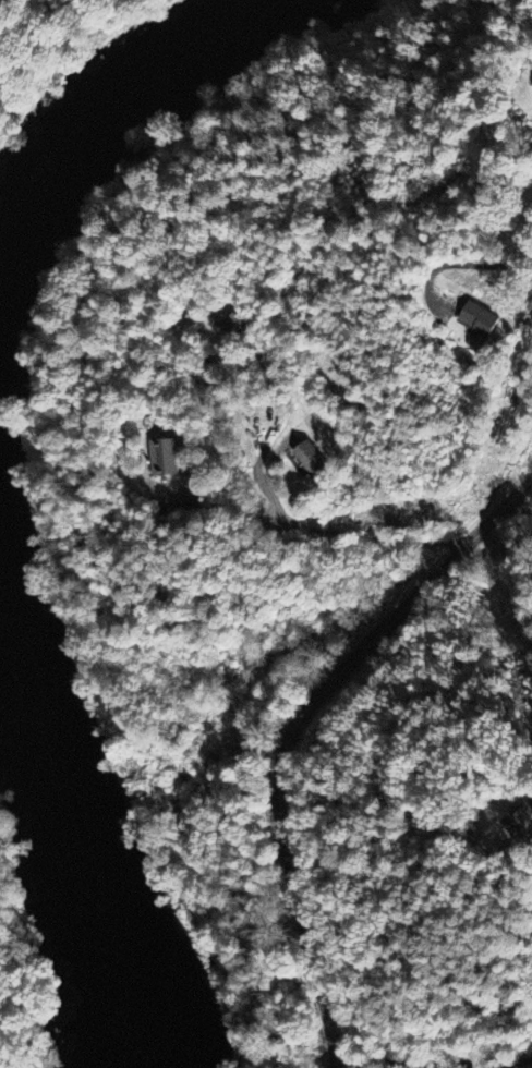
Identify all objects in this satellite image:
building: (529, 218)
road: (456, 263)
river: (20, 314)
building: (479, 317)
building: (232, 328)
building: (162, 460)
building: (310, 460)
road: (307, 527)
road: (290, 727)
river: (88, 896)
road: (433, 1060)

